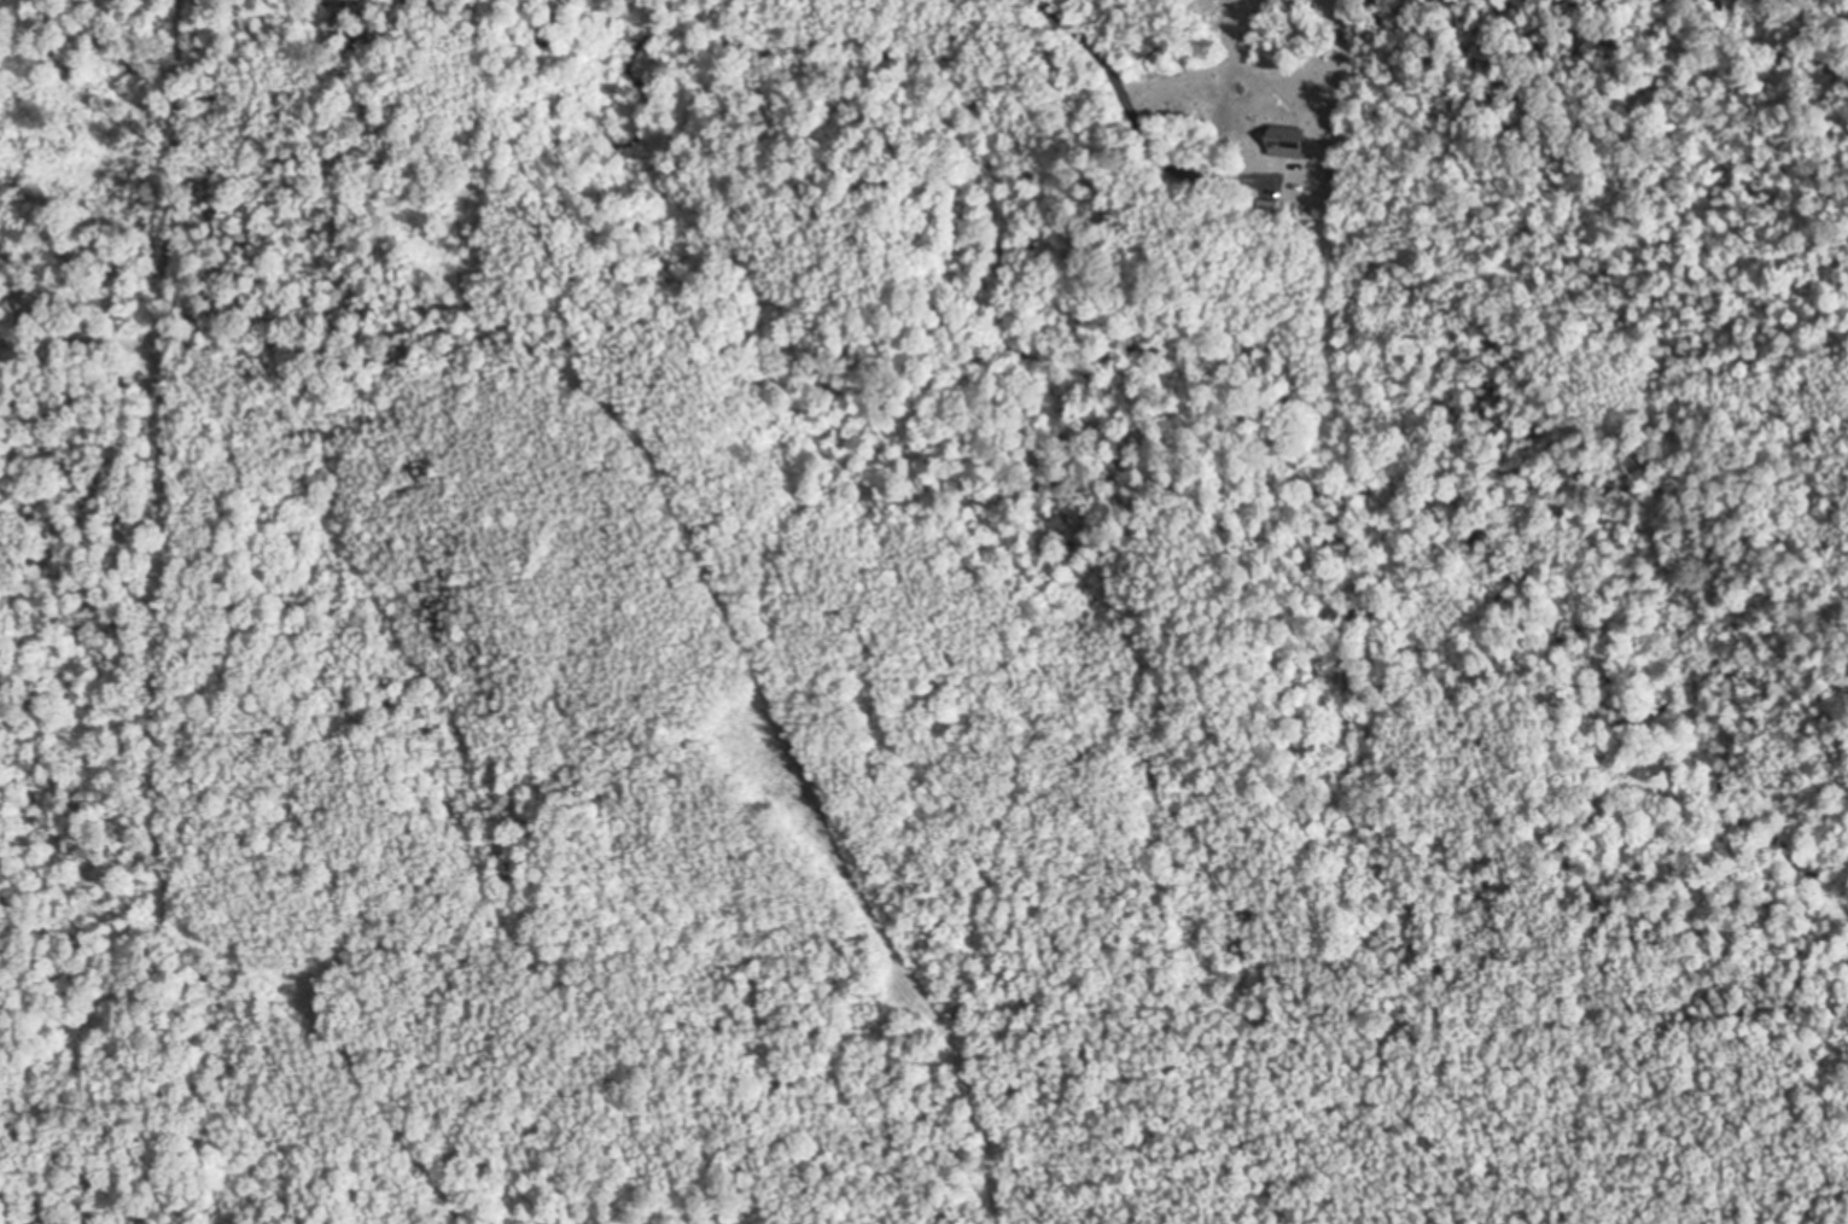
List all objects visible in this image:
building: (1339, 0)
building: (1288, 138)
road: (167, 174)

